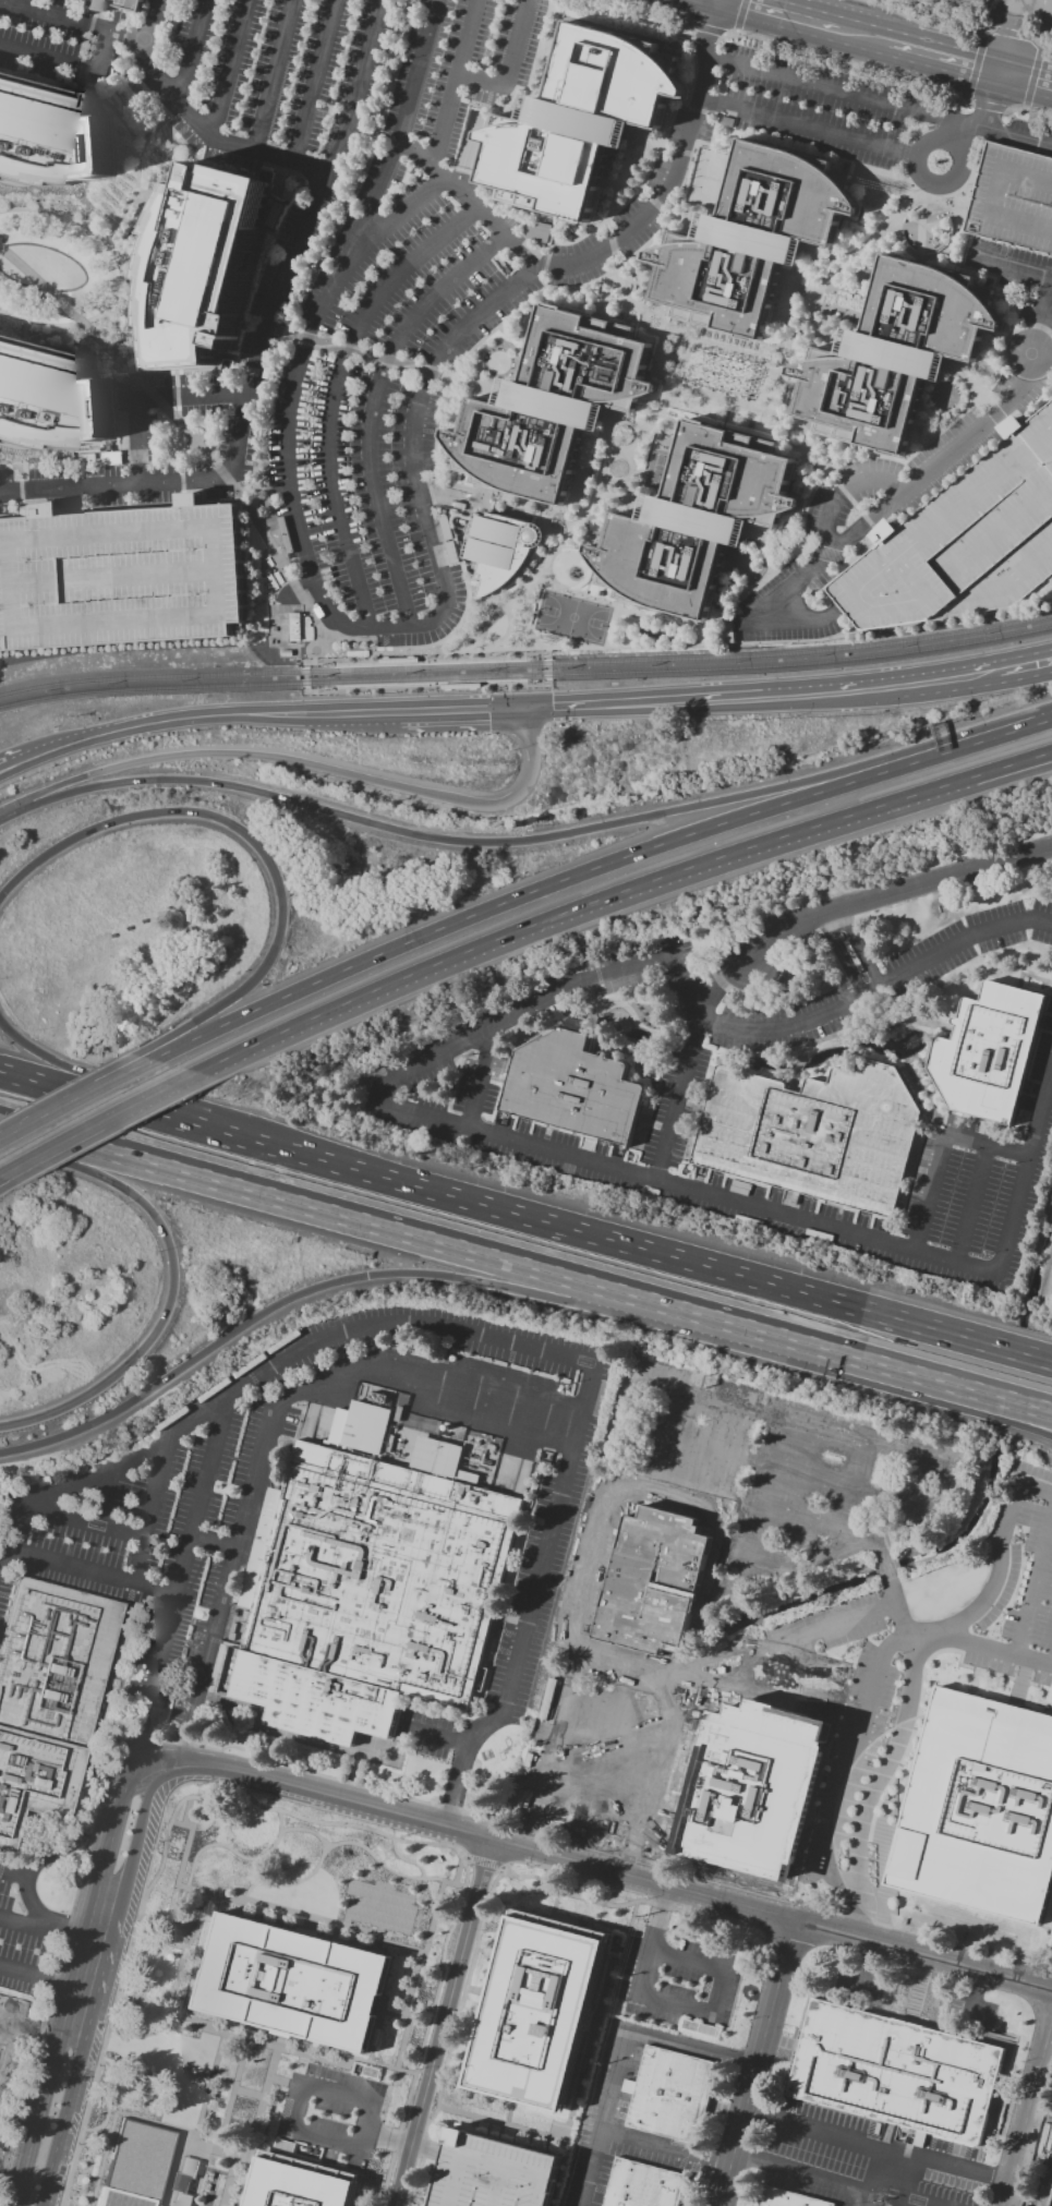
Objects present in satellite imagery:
road: (670, 3)
road: (661, 7)
building: (94, 8)
parking lot: (94, 8)
road: (669, 8)
road: (1019, 9)
road: (93, 13)
road: (740, 14)
road: (72, 22)
road: (927, 23)
road: (89, 25)
road: (692, 25)
road: (553, 27)
road: (706, 28)
road: (735, 29)
road: (991, 29)
road: (622, 31)
road: (726, 32)
road: (722, 33)
road: (1011, 33)
road: (982, 35)
road: (1031, 36)
road: (896, 41)
parking lot: (59, 43)
road: (1041, 43)
road: (1009, 44)
road: (1040, 46)
road: (84, 47)
road: (147, 57)
road: (851, 61)
road: (68, 63)
road: (974, 64)
road: (510, 65)
road: (80, 67)
road: (228, 70)
road: (678, 73)
road: (275, 76)
road: (1031, 76)
road: (530, 80)
parking lot: (278, 82)
road: (314, 82)
road: (75, 83)
road: (454, 83)
road: (358, 87)
road: (689, 87)
road: (965, 93)
road: (948, 98)
road: (994, 100)
road: (878, 101)
road: (970, 101)
road: (988, 105)
road: (1024, 106)
road: (1027, 108)
road: (114, 112)
road: (938, 116)
building: (579, 123)
road: (197, 126)
road: (808, 128)
road: (714, 131)
road: (917, 131)
road: (964, 133)
parking lot: (1029, 136)
building: (52, 140)
road: (703, 144)
road: (662, 147)
road: (681, 153)
road: (902, 155)
road: (354, 170)
road: (880, 172)
road: (854, 174)
road: (921, 174)
road: (136, 178)
park: (710, 179)
road: (904, 180)
road: (684, 182)
road: (628, 184)
road: (644, 193)
road: (628, 196)
road: (613, 198)
building: (1013, 198)
parking lot: (1013, 198)
road: (934, 200)
road: (655, 205)
road: (960, 213)
road: (928, 216)
road: (687, 220)
road: (919, 226)
building: (536, 232)
road: (99, 238)
road: (614, 241)
building: (750, 241)
road: (610, 242)
road: (548, 243)
road: (908, 252)
road: (544, 260)
building: (201, 262)
road: (834, 265)
road: (967, 267)
road: (1012, 267)
road: (616, 268)
parking lot: (1017, 275)
road: (541, 280)
road: (1001, 286)
road: (629, 292)
parking lot: (471, 296)
road: (553, 299)
road: (1004, 300)
road: (660, 315)
road: (1047, 318)
road: (39, 324)
road: (1019, 325)
road: (1037, 326)
road: (1038, 326)
road: (660, 331)
road: (24, 334)
road: (1050, 334)
road: (512, 337)
road: (823, 337)
road: (14, 342)
road: (724, 348)
road: (61, 349)
road: (98, 350)
road: (358, 350)
road: (685, 351)
building: (893, 357)
road: (784, 363)
road: (688, 365)
road: (459, 367)
road: (663, 375)
road: (966, 381)
road: (471, 383)
road: (757, 386)
road: (334, 394)
road: (148, 398)
building: (49, 402)
road: (737, 403)
road: (375, 408)
building: (549, 408)
road: (1032, 412)
road: (725, 413)
road: (996, 413)
road: (619, 420)
road: (927, 420)
road: (938, 420)
road: (1005, 420)
road: (264, 423)
road: (237, 431)
road: (803, 433)
road: (197, 444)
road: (806, 445)
road: (918, 447)
road: (618, 453)
road: (830, 457)
road: (601, 460)
road: (825, 469)
road: (832, 477)
road: (844, 492)
road: (845, 492)
road: (975, 495)
road: (796, 496)
road: (493, 497)
road: (214, 502)
road: (628, 502)
road: (857, 508)
road: (556, 510)
road: (879, 513)
road: (582, 516)
road: (867, 519)
building: (693, 525)
road: (873, 528)
road: (152, 529)
road: (565, 530)
road: (996, 532)
road: (771, 540)
building: (964, 542)
parking lot: (964, 542)
road: (806, 549)
building: (498, 552)
road: (826, 553)
road: (306, 557)
road: (849, 558)
road: (854, 563)
road: (110, 576)
road: (1013, 577)
building: (122, 579)
parking lot: (122, 579)
road: (588, 584)
road: (751, 587)
road: (573, 592)
road: (888, 607)
road: (465, 613)
park: (572, 618)
road: (654, 620)
road: (68, 623)
building: (294, 626)
road: (523, 626)
road: (612, 626)
road: (465, 627)
road: (704, 631)
road: (451, 632)
road: (694, 637)
road: (464, 638)
road: (751, 641)
road: (323, 642)
road: (373, 643)
road: (469, 643)
road: (459, 647)
road: (486, 648)
road: (437, 649)
railway: (523, 652)
road: (535, 656)
building: (399, 660)
road: (319, 662)
railway: (527, 665)
road: (1025, 666)
road: (306, 676)
railway: (527, 676)
road: (546, 677)
building: (460, 686)
road: (882, 689)
railway: (336, 695)
road: (650, 703)
traffic signals: (533, 709)
road: (463, 711)
road: (229, 715)
road: (34, 743)
road: (34, 758)
road: (304, 764)
road: (993, 770)
road: (993, 774)
road: (1, 812)
road: (826, 822)
road: (252, 839)
road: (529, 841)
road: (594, 868)
road: (894, 891)
road: (861, 948)
road: (455, 955)
road: (842, 955)
road: (721, 978)
road: (850, 1003)
road: (525, 1005)
building: (990, 1048)
road: (82, 1075)
road: (479, 1076)
building: (576, 1085)
road: (169, 1088)
road: (384, 1093)
road: (86, 1095)
road: (679, 1098)
road: (76, 1100)
building: (813, 1134)
road: (69, 1140)
road: (73, 1145)
road: (988, 1145)
road: (1025, 1176)
road: (3, 1189)
road: (689, 1192)
road: (927, 1193)
road: (969, 1205)
road: (366, 1220)
road: (612, 1241)
road: (173, 1277)
road: (346, 1279)
road: (784, 1331)
road: (496, 1339)
road: (910, 1366)
road: (1019, 1397)
road: (1015, 1418)
building: (366, 1427)
road: (267, 1431)
road: (880, 1448)
building: (436, 1457)
road: (102, 1496)
park: (0, 1498)
road: (769, 1507)
road: (136, 1536)
road: (214, 1542)
road: (875, 1542)
road: (721, 1545)
road: (657, 1552)
road: (999, 1557)
road: (134, 1559)
road: (883, 1565)
road: (90, 1571)
road: (1033, 1583)
road: (179, 1584)
building: (366, 1594)
road: (989, 1647)
road: (734, 1650)
building: (48, 1696)
road: (796, 1704)
road: (438, 1736)
road: (854, 1755)
road: (890, 1759)
road: (653, 1776)
road: (144, 1781)
building: (749, 1788)
building: (979, 1808)
road: (289, 1813)
road: (587, 1821)
road: (128, 1837)
road: (584, 1842)
road: (41, 1854)
road: (603, 1869)
road: (12, 1872)
road: (49, 1931)
road: (864, 1969)
road: (90, 1974)
road: (44, 1976)
building: (293, 1981)
road: (715, 1992)
road: (972, 1996)
building: (536, 2011)
road: (446, 2023)
road: (620, 2046)
road: (690, 2047)
building: (1, 2053)
road: (755, 2063)
building: (895, 2072)
building: (668, 2095)
road: (1028, 2114)
road: (50, 2122)
road: (293, 2129)
road: (876, 2145)
road: (663, 2148)
road: (896, 2162)
building: (136, 2165)
building: (493, 2172)
parking garage: (493, 2172)
road: (803, 2173)
building: (297, 2183)
road: (899, 2184)
building: (642, 2185)
road: (32, 2193)
building: (782, 2199)
road: (909, 2203)

